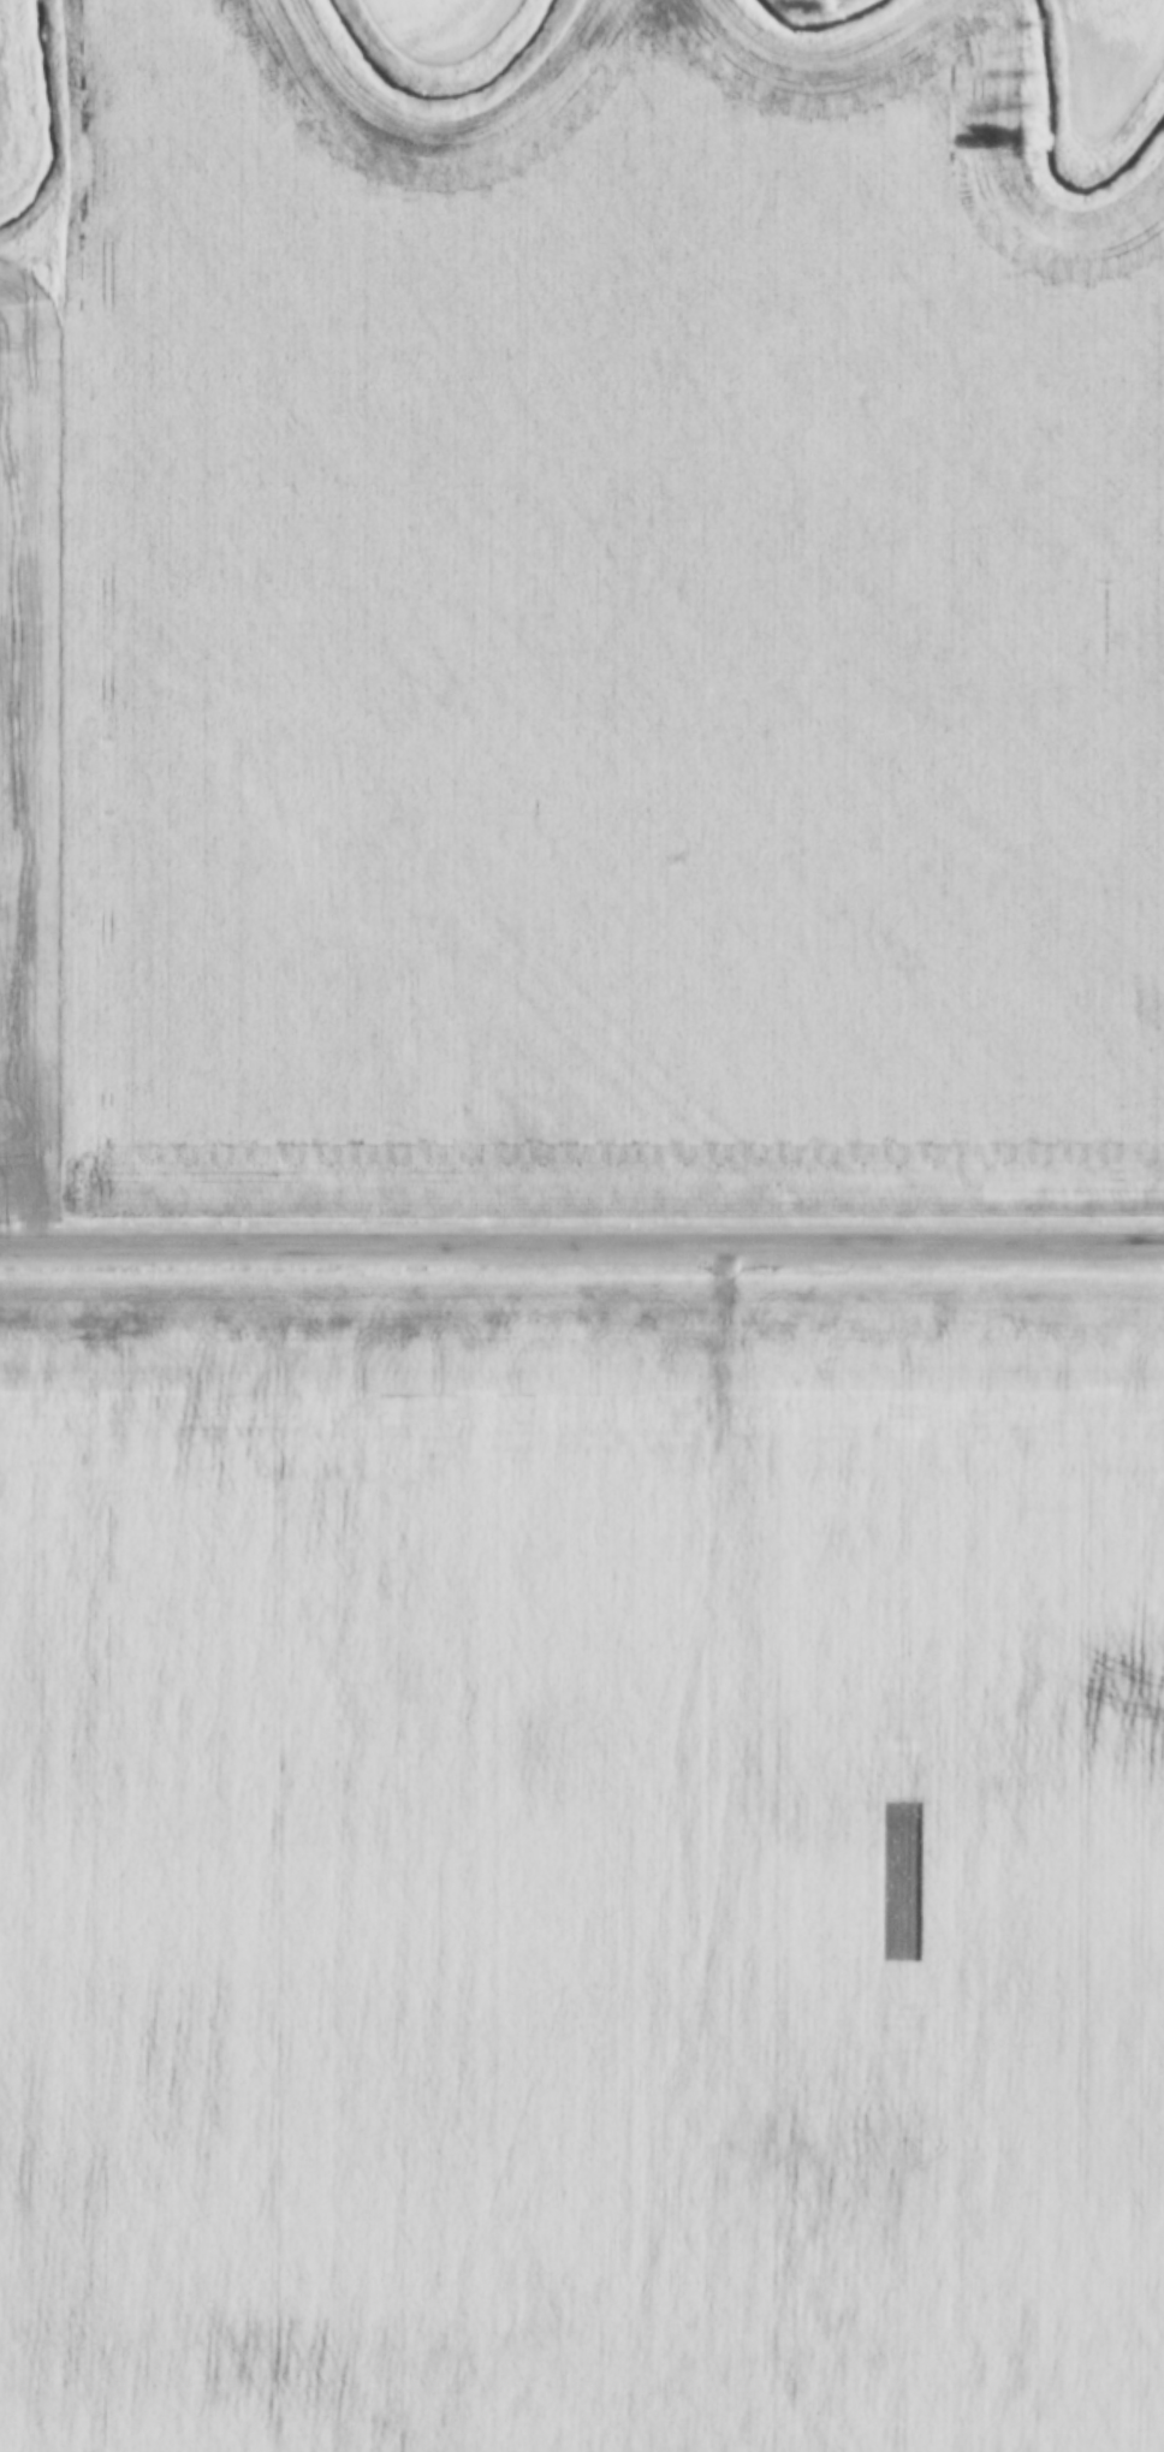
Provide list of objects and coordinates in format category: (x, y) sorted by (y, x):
road: (582, 1247)

